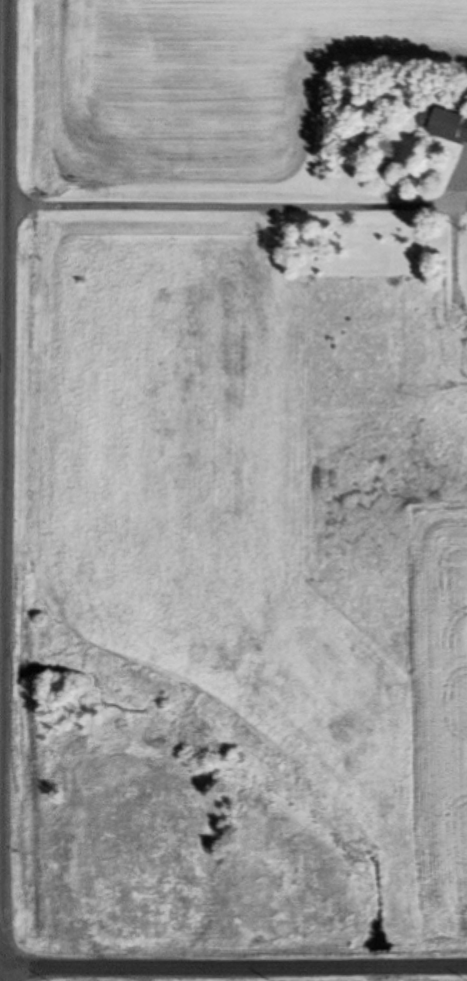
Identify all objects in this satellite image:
road: (0, 5)
building: (447, 122)
road: (233, 968)

